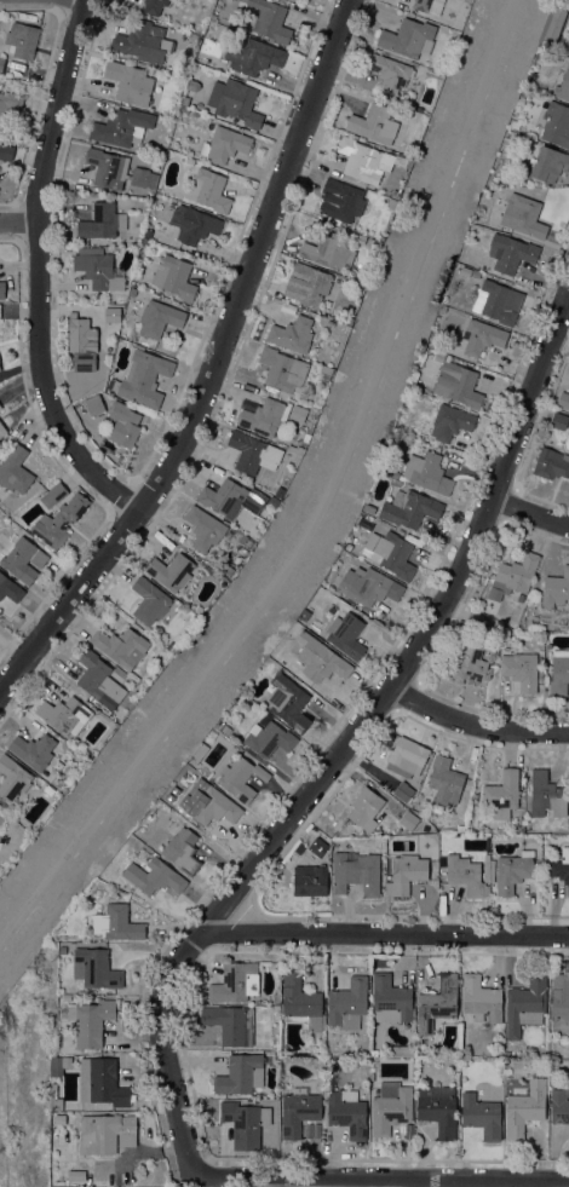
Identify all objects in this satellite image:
building: (154, 6)
building: (429, 6)
building: (562, 10)
building: (271, 19)
building: (567, 23)
building: (407, 38)
building: (22, 40)
building: (140, 41)
building: (568, 51)
building: (253, 56)
building: (1, 62)
building: (389, 73)
building: (130, 82)
building: (563, 82)
road: (41, 86)
building: (184, 100)
building: (234, 102)
building: (10, 103)
building: (515, 123)
building: (377, 125)
building: (557, 125)
building: (122, 127)
building: (224, 144)
building: (6, 151)
building: (362, 160)
building: (400, 161)
building: (155, 163)
building: (548, 163)
building: (114, 169)
building: (208, 190)
building: (396, 195)
building: (340, 200)
building: (391, 202)
building: (523, 215)
building: (102, 221)
road: (18, 223)
road: (18, 224)
building: (192, 224)
building: (146, 234)
building: (144, 241)
building: (327, 250)
building: (510, 253)
building: (99, 269)
road: (38, 272)
building: (476, 273)
building: (174, 277)
building: (308, 284)
building: (2, 290)
building: (132, 292)
building: (100, 300)
building: (498, 302)
building: (288, 309)
building: (111, 315)
road: (567, 315)
building: (159, 318)
building: (331, 323)
building: (292, 335)
building: (479, 338)
building: (82, 344)
road: (212, 364)
building: (282, 370)
building: (326, 371)
building: (142, 379)
road: (228, 384)
building: (458, 385)
building: (563, 401)
building: (94, 405)
building: (0, 407)
building: (311, 413)
building: (264, 416)
building: (559, 421)
building: (450, 422)
building: (123, 425)
building: (2, 430)
building: (253, 453)
road: (59, 463)
building: (551, 463)
building: (15, 469)
building: (427, 472)
building: (396, 476)
road: (136, 477)
building: (396, 483)
building: (278, 492)
building: (53, 495)
road: (122, 499)
building: (231, 499)
building: (272, 502)
road: (321, 502)
building: (409, 508)
road: (530, 513)
building: (59, 520)
building: (203, 529)
building: (243, 540)
building: (390, 553)
building: (18, 559)
building: (171, 571)
building: (228, 571)
building: (513, 576)
building: (368, 586)
building: (10, 588)
building: (556, 588)
building: (150, 601)
building: (305, 615)
building: (475, 620)
building: (347, 636)
building: (121, 646)
building: (320, 658)
building: (467, 663)
building: (521, 670)
building: (546, 672)
building: (96, 676)
building: (559, 676)
building: (288, 702)
building: (64, 715)
road: (340, 718)
building: (218, 726)
road: (477, 727)
building: (225, 730)
building: (269, 739)
road: (349, 743)
building: (34, 750)
building: (199, 754)
building: (408, 755)
building: (12, 778)
building: (240, 778)
building: (444, 780)
building: (403, 790)
building: (502, 794)
building: (546, 795)
building: (213, 807)
building: (366, 808)
building: (1, 820)
building: (408, 820)
building: (460, 828)
building: (521, 829)
building: (318, 847)
building: (183, 851)
building: (561, 866)
building: (485, 868)
building: (492, 871)
building: (512, 871)
building: (356, 872)
building: (406, 872)
building: (465, 875)
building: (154, 876)
building: (310, 880)
building: (116, 923)
road: (384, 934)
building: (62, 950)
building: (94, 968)
building: (235, 981)
building: (65, 997)
building: (481, 997)
building: (390, 999)
building: (559, 1001)
building: (301, 1003)
building: (347, 1003)
building: (437, 1003)
building: (525, 1004)
building: (276, 1008)
building: (263, 1009)
building: (90, 1021)
building: (230, 1024)
park: (6, 1039)
building: (553, 1054)
building: (58, 1065)
building: (241, 1073)
building: (100, 1082)
building: (54, 1099)
building: (559, 1106)
building: (390, 1107)
building: (524, 1107)
building: (438, 1110)
building: (298, 1111)
building: (347, 1112)
building: (481, 1116)
building: (245, 1123)
building: (103, 1133)
road: (380, 1180)

